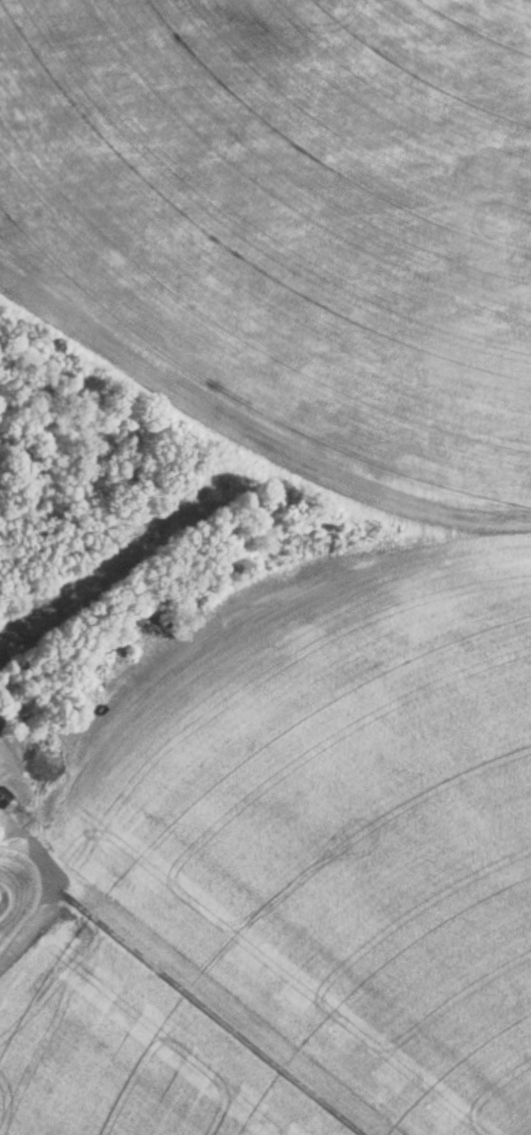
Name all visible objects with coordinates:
wastewater plant: (265, 567)
road: (23, 898)

